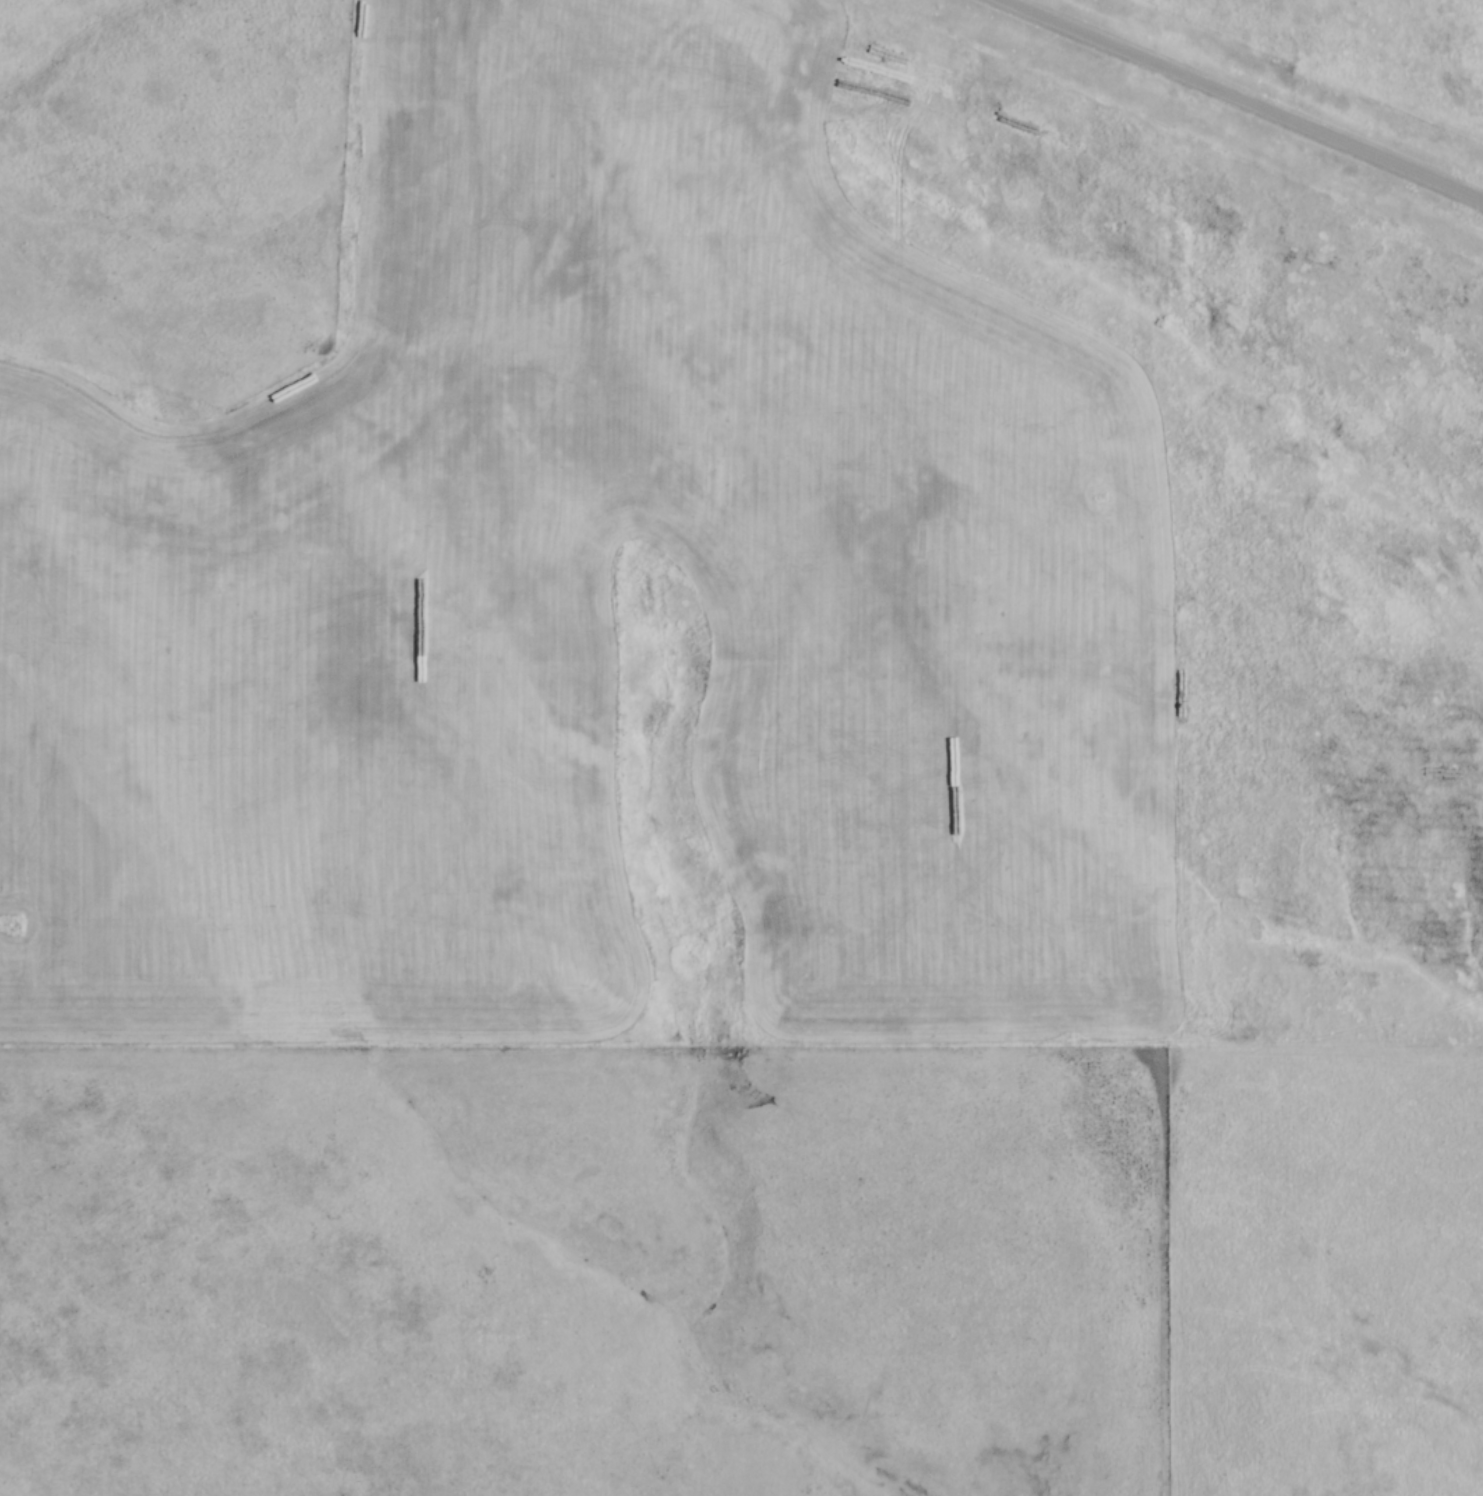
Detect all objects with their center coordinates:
road: (1242, 102)

